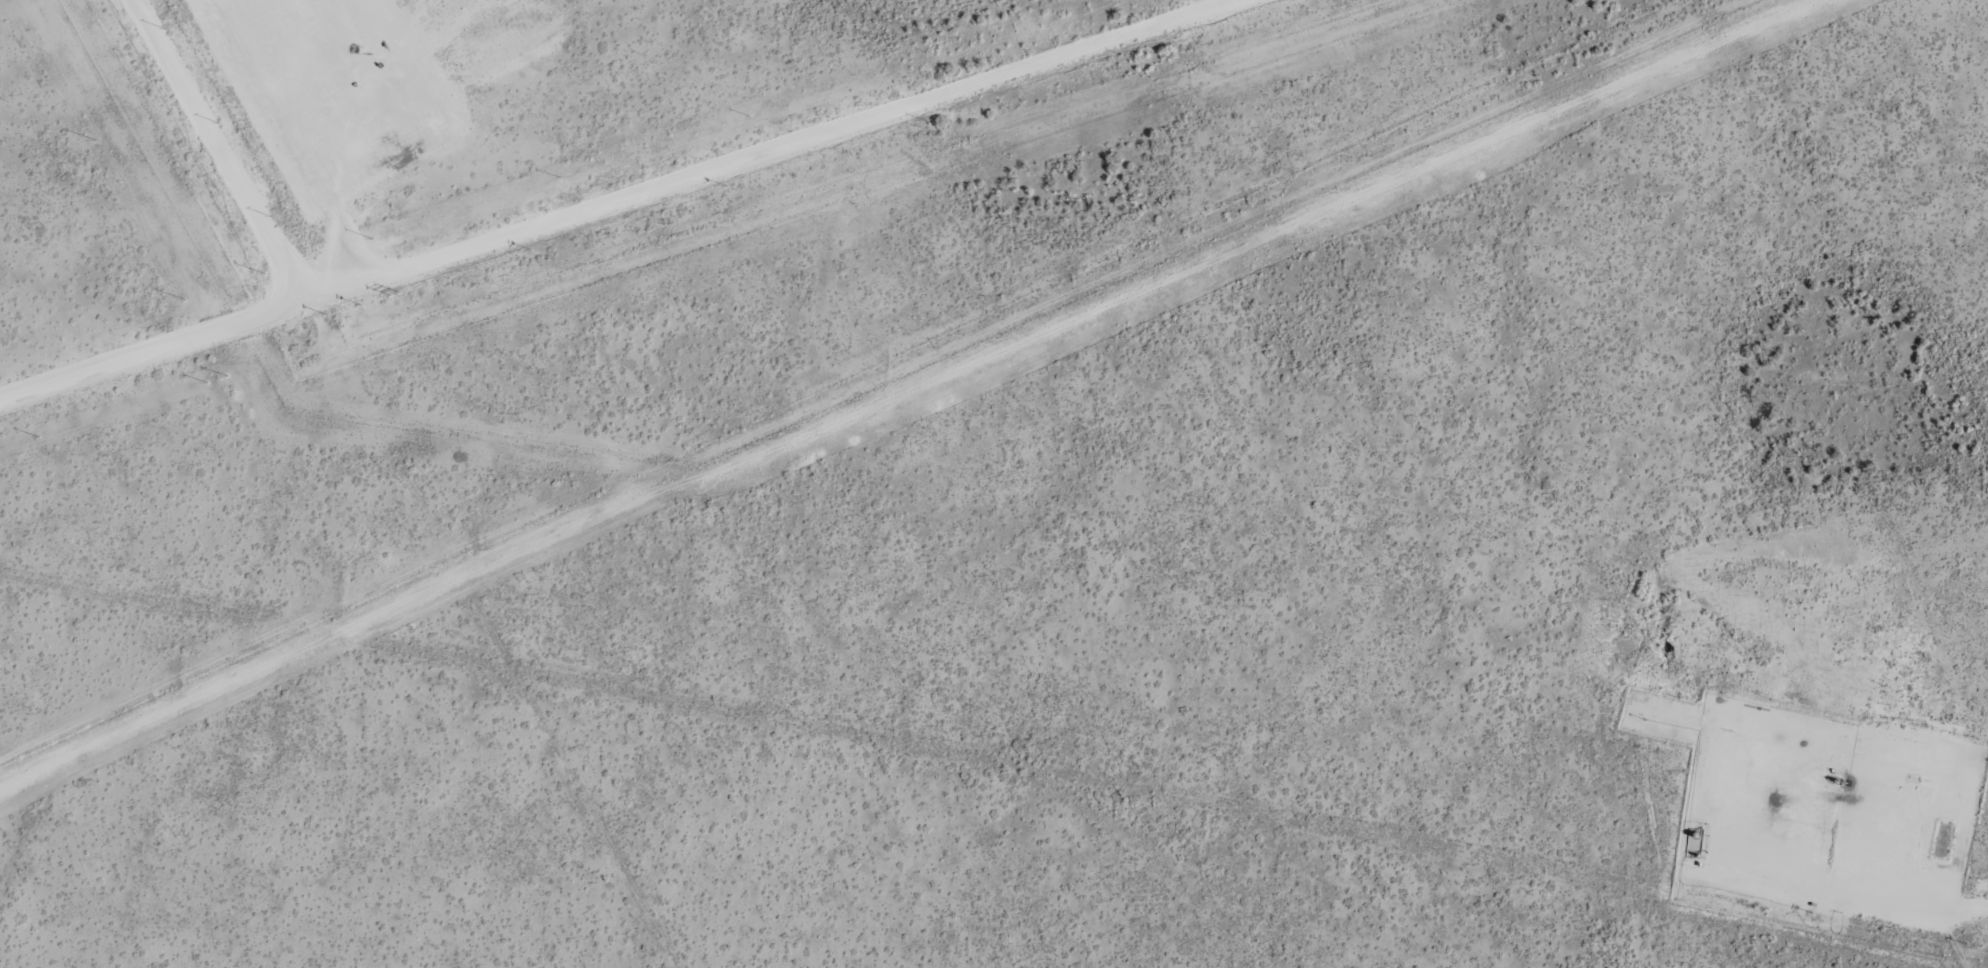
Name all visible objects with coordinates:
road: (339, 155)
road: (227, 175)
road: (692, 227)
road: (147, 352)
road: (959, 764)
road: (1965, 913)

